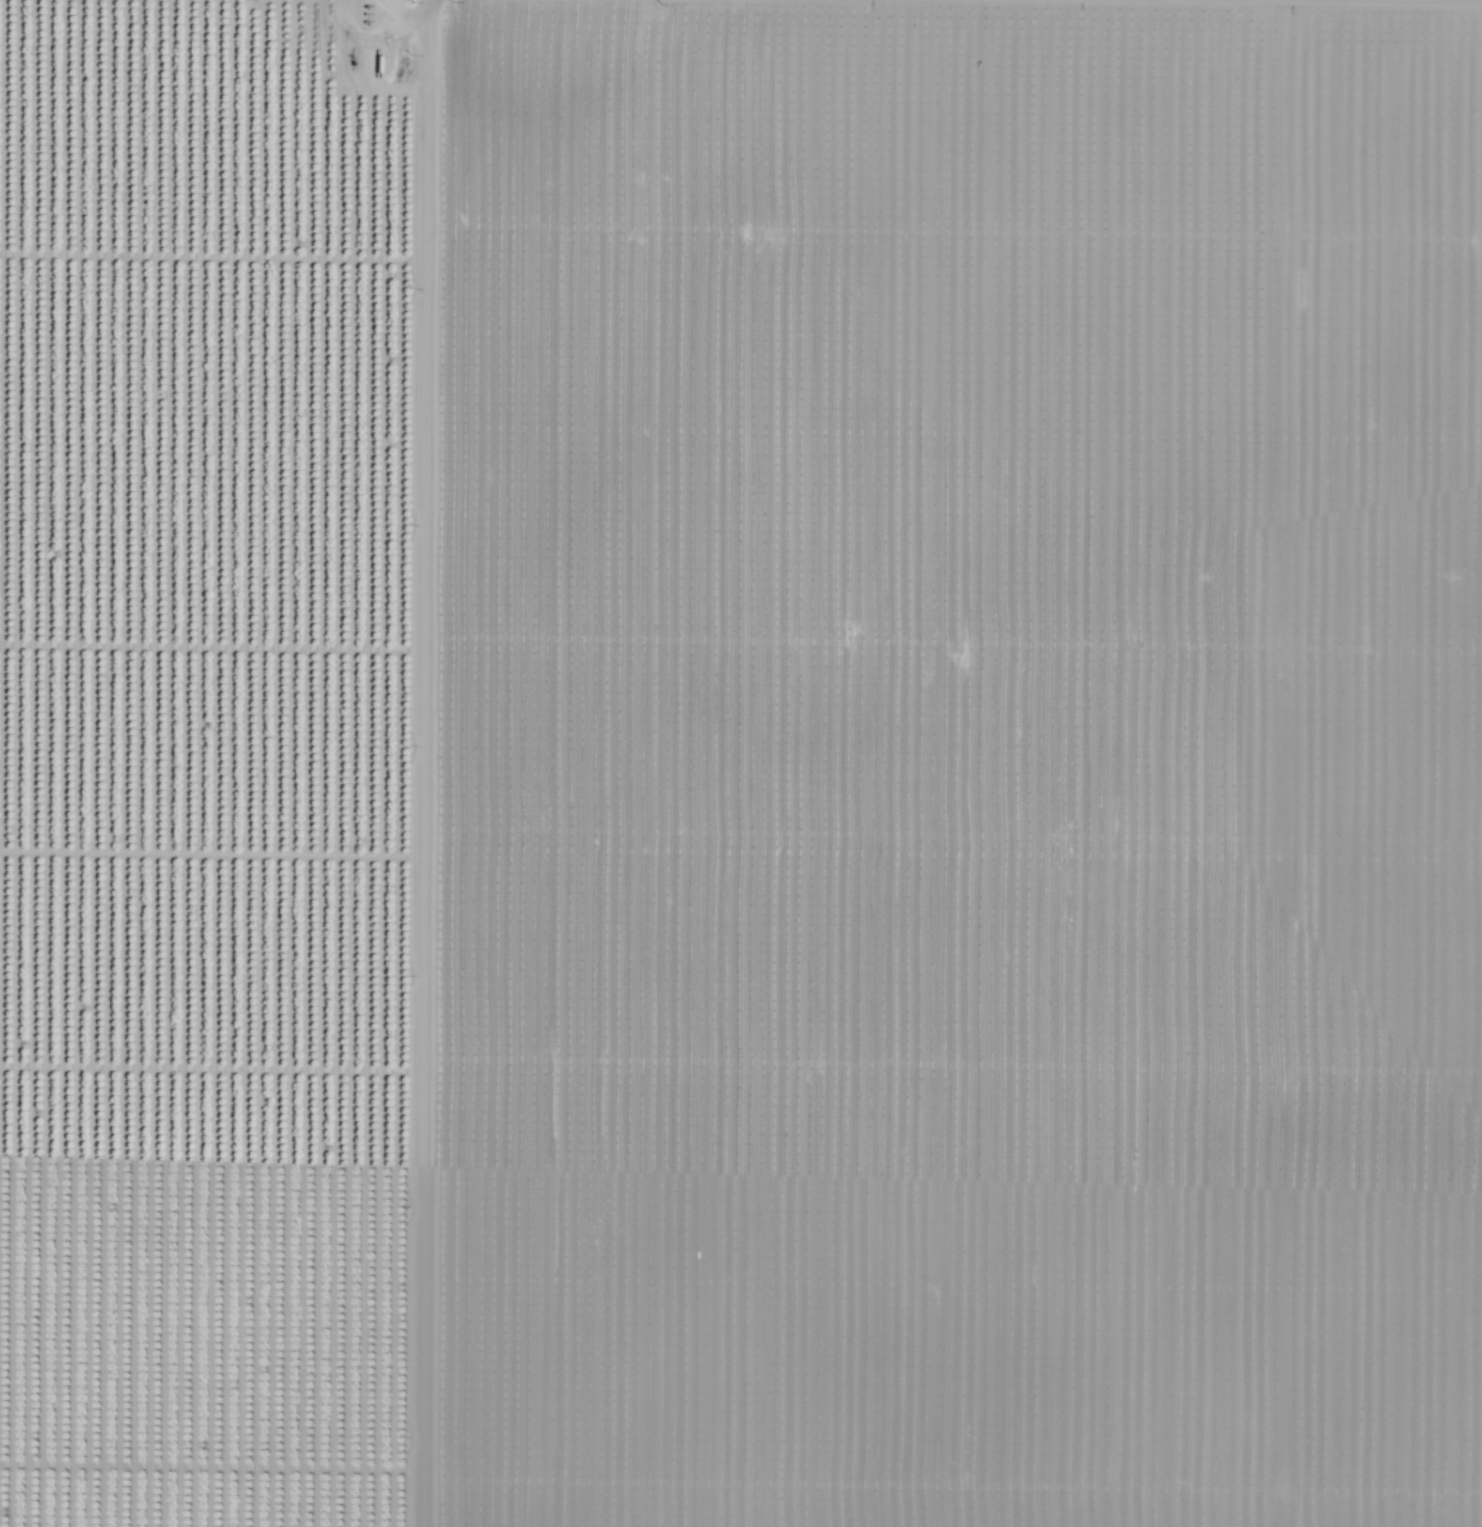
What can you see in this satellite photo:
road: (467, 763)

